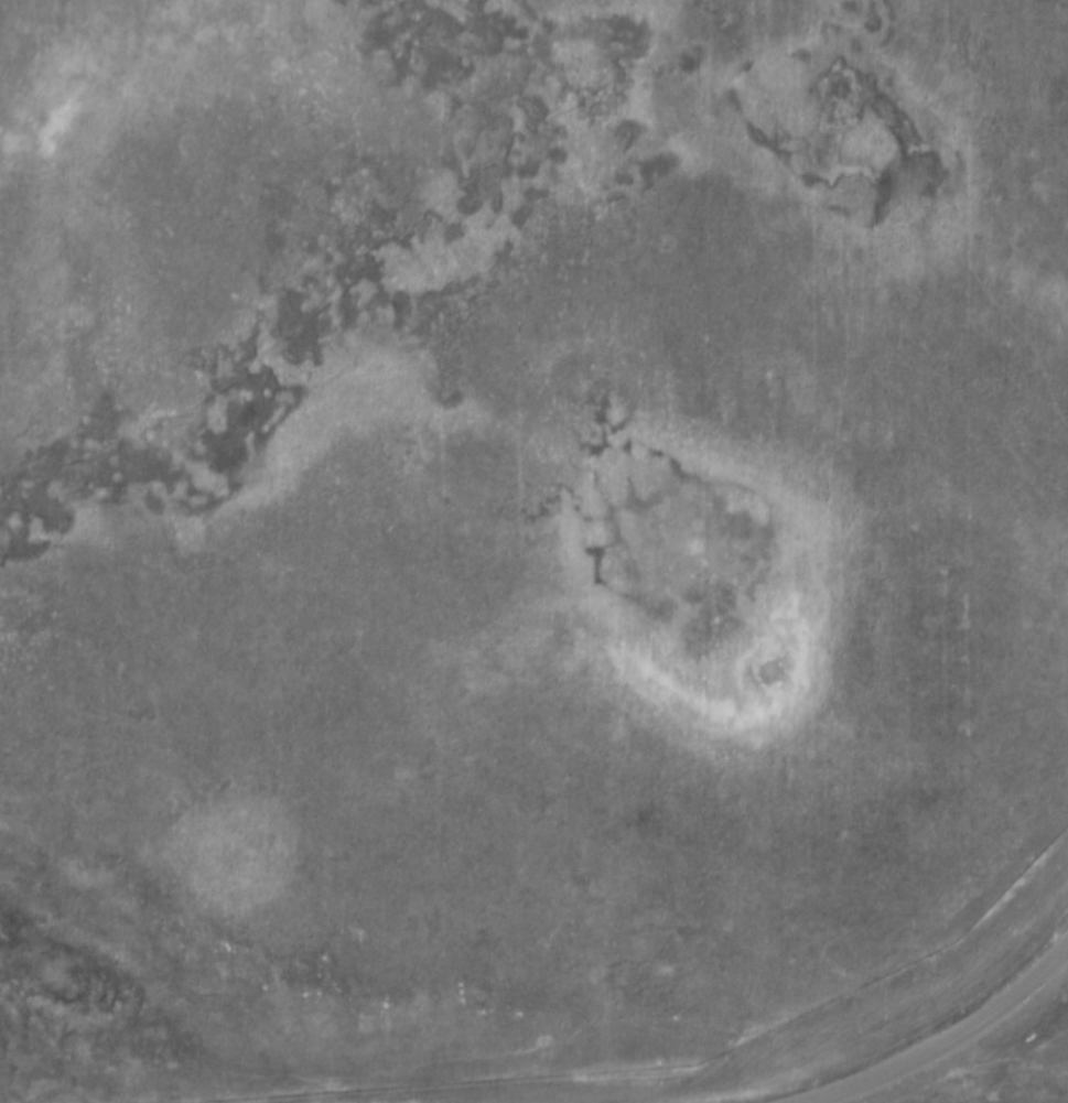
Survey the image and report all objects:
road: (954, 1042)

